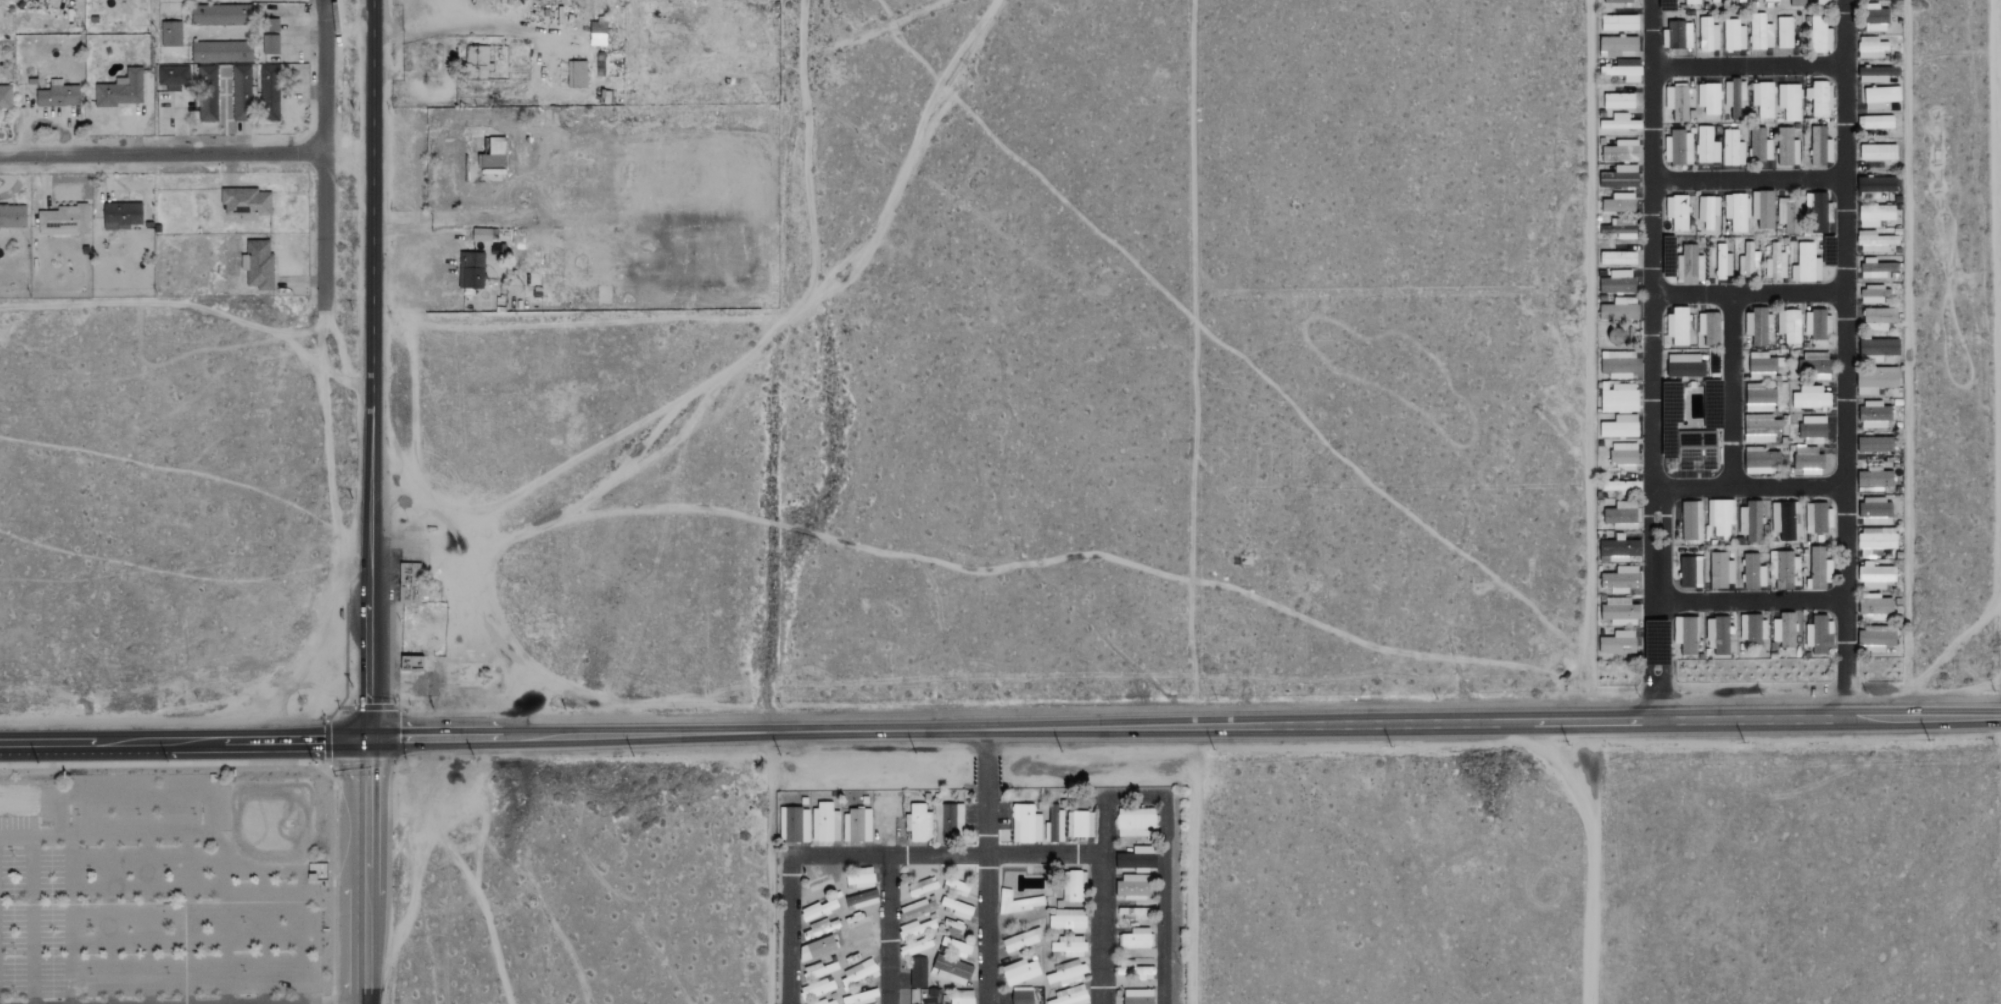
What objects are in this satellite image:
building: (1619, 1)
building: (1713, 1)
building: (1742, 1)
building: (1771, 1)
building: (1691, 2)
building: (1823, 2)
building: (1798, 3)
building: (222, 15)
building: (1877, 20)
building: (1619, 23)
road: (482, 31)
building: (597, 32)
building: (1761, 32)
building: (1785, 33)
building: (172, 34)
building: (1677, 35)
building: (1708, 35)
building: (1821, 35)
building: (1734, 36)
road: (305, 39)
building: (271, 45)
building: (1618, 45)
building: (1872, 48)
building: (222, 52)
building: (479, 62)
road: (1749, 64)
building: (1624, 70)
building: (1877, 74)
building: (207, 75)
building: (577, 75)
road: (431, 76)
building: (171, 77)
building: (28, 83)
building: (270, 87)
building: (120, 88)
building: (242, 93)
building: (58, 95)
building: (5, 96)
building: (1735, 96)
building: (1881, 97)
building: (1710, 99)
building: (1764, 99)
building: (1821, 100)
building: (1618, 101)
building: (1790, 101)
building: (1679, 103)
building: (208, 110)
building: (1875, 122)
building: (1620, 123)
building: (1760, 145)
building: (1707, 146)
building: (1679, 148)
building: (1788, 148)
building: (1733, 149)
road: (162, 152)
building: (489, 152)
building: (1621, 152)
building: (1822, 152)
building: (1878, 152)
road: (324, 154)
building: (1621, 177)
road: (1749, 177)
building: (1877, 185)
building: (1620, 202)
building: (246, 203)
building: (1762, 208)
building: (1707, 210)
building: (1736, 211)
building: (1678, 212)
building: (1788, 214)
building: (1875, 214)
building: (121, 215)
building: (12, 216)
building: (63, 219)
building: (1622, 228)
road: (1998, 231)
building: (485, 234)
building: (1875, 241)
building: (1618, 257)
building: (1722, 261)
building: (1748, 261)
building: (1775, 263)
building: (1806, 263)
building: (258, 264)
building: (1689, 264)
building: (1867, 268)
building: (471, 270)
building: (1618, 281)
road: (1694, 293)
building: (1876, 293)
building: (1620, 309)
building: (1880, 318)
building: (1817, 324)
building: (1678, 325)
building: (1758, 325)
building: (1788, 325)
building: (1710, 327)
road: (1732, 333)
building: (1880, 348)
road: (342, 356)
road: (1845, 359)
road: (1655, 360)
building: (1619, 363)
building: (1762, 366)
road: (372, 369)
building: (1687, 369)
building: (1877, 379)
building: (1619, 397)
building: (1760, 398)
building: (1811, 398)
building: (1875, 414)
building: (1620, 426)
building: (1762, 428)
building: (1813, 430)
building: (1876, 443)
building: (1696, 444)
building: (1624, 455)
building: (1763, 460)
building: (1875, 479)
building: (1622, 485)
road: (1750, 485)
building: (1876, 510)
building: (1622, 514)
building: (1721, 515)
building: (1819, 517)
building: (1692, 520)
building: (1751, 521)
building: (1787, 521)
building: (1877, 540)
building: (1619, 549)
building: (1786, 568)
building: (1819, 569)
building: (1722, 570)
building: (1692, 571)
building: (1754, 572)
building: (1876, 576)
building: (1622, 579)
building: (413, 582)
road: (1751, 600)
building: (1875, 607)
building: (1621, 611)
building: (1784, 630)
building: (1820, 633)
building: (1686, 634)
building: (1718, 635)
building: (1877, 639)
building: (1619, 642)
building: (412, 663)
road: (1183, 725)
traffic signals: (366, 739)
road: (183, 740)
road: (283, 762)
road: (985, 791)
building: (1135, 821)
building: (825, 822)
building: (949, 822)
building: (918, 824)
building: (1026, 824)
building: (795, 825)
building: (857, 825)
road: (1167, 837)
road: (813, 856)
building: (1138, 859)
road: (1592, 862)
road: (364, 871)
road: (1103, 871)
building: (859, 879)
building: (1076, 886)
building: (922, 887)
building: (955, 887)
building: (1134, 887)
parking lot: (148, 897)
building: (861, 900)
building: (1018, 902)
road: (31, 904)
building: (918, 908)
building: (958, 908)
building: (818, 909)
building: (1139, 913)
building: (1068, 920)
building: (820, 928)
building: (916, 928)
road: (986, 929)
road: (888, 930)
building: (1137, 938)
building: (1022, 940)
building: (916, 947)
building: (1068, 947)
building: (817, 948)
building: (951, 969)
building: (820, 970)
building: (1135, 970)
building: (1020, 971)
building: (1067, 972)
building: (918, 973)
building: (858, 974)
building: (817, 988)
building: (1026, 996)
building: (1071, 996)
building: (1138, 996)
building: (861, 997)
building: (961, 998)
building: (828, 1001)

